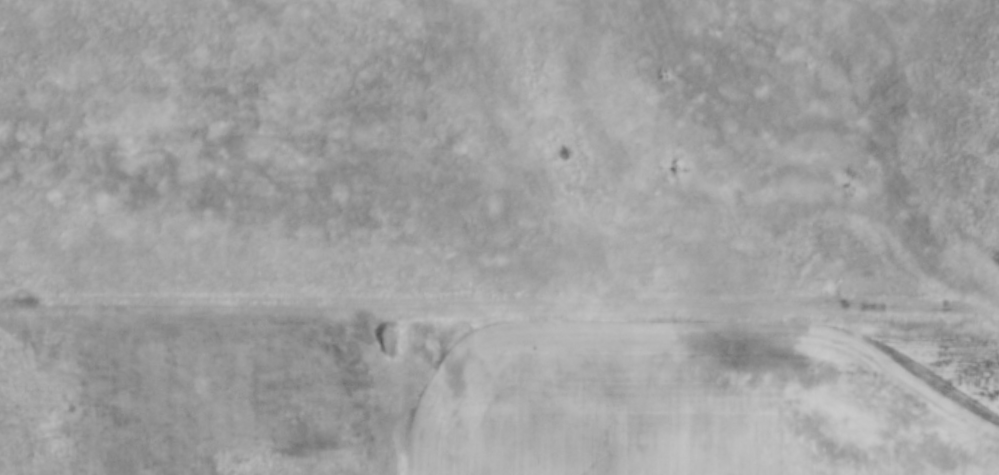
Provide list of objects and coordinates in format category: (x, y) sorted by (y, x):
road: (499, 304)

